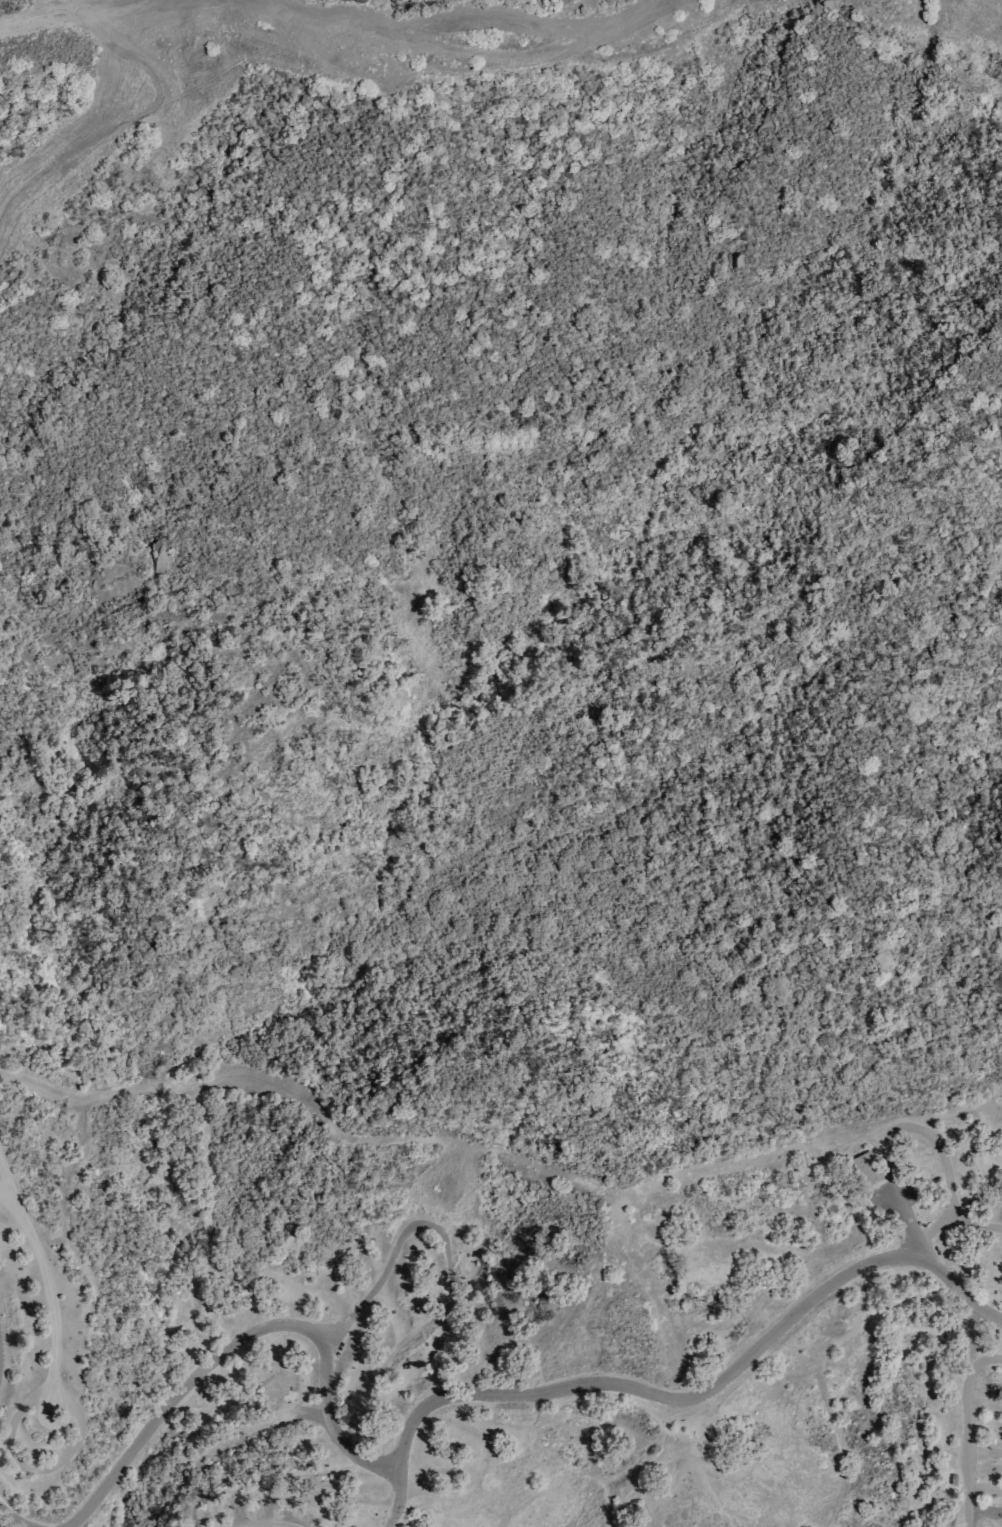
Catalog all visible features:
road: (260, 14)
road: (79, 53)
park: (501, 763)
road: (950, 1112)
road: (942, 1160)
building: (863, 1170)
road: (892, 1196)
road: (5, 1200)
road: (957, 1223)
road: (449, 1273)
road: (47, 1282)
road: (215, 1350)
road: (696, 1386)
road: (963, 1430)
road: (35, 1471)
road: (424, 1499)
road: (394, 1502)
road: (432, 1517)
road: (264, 1518)

